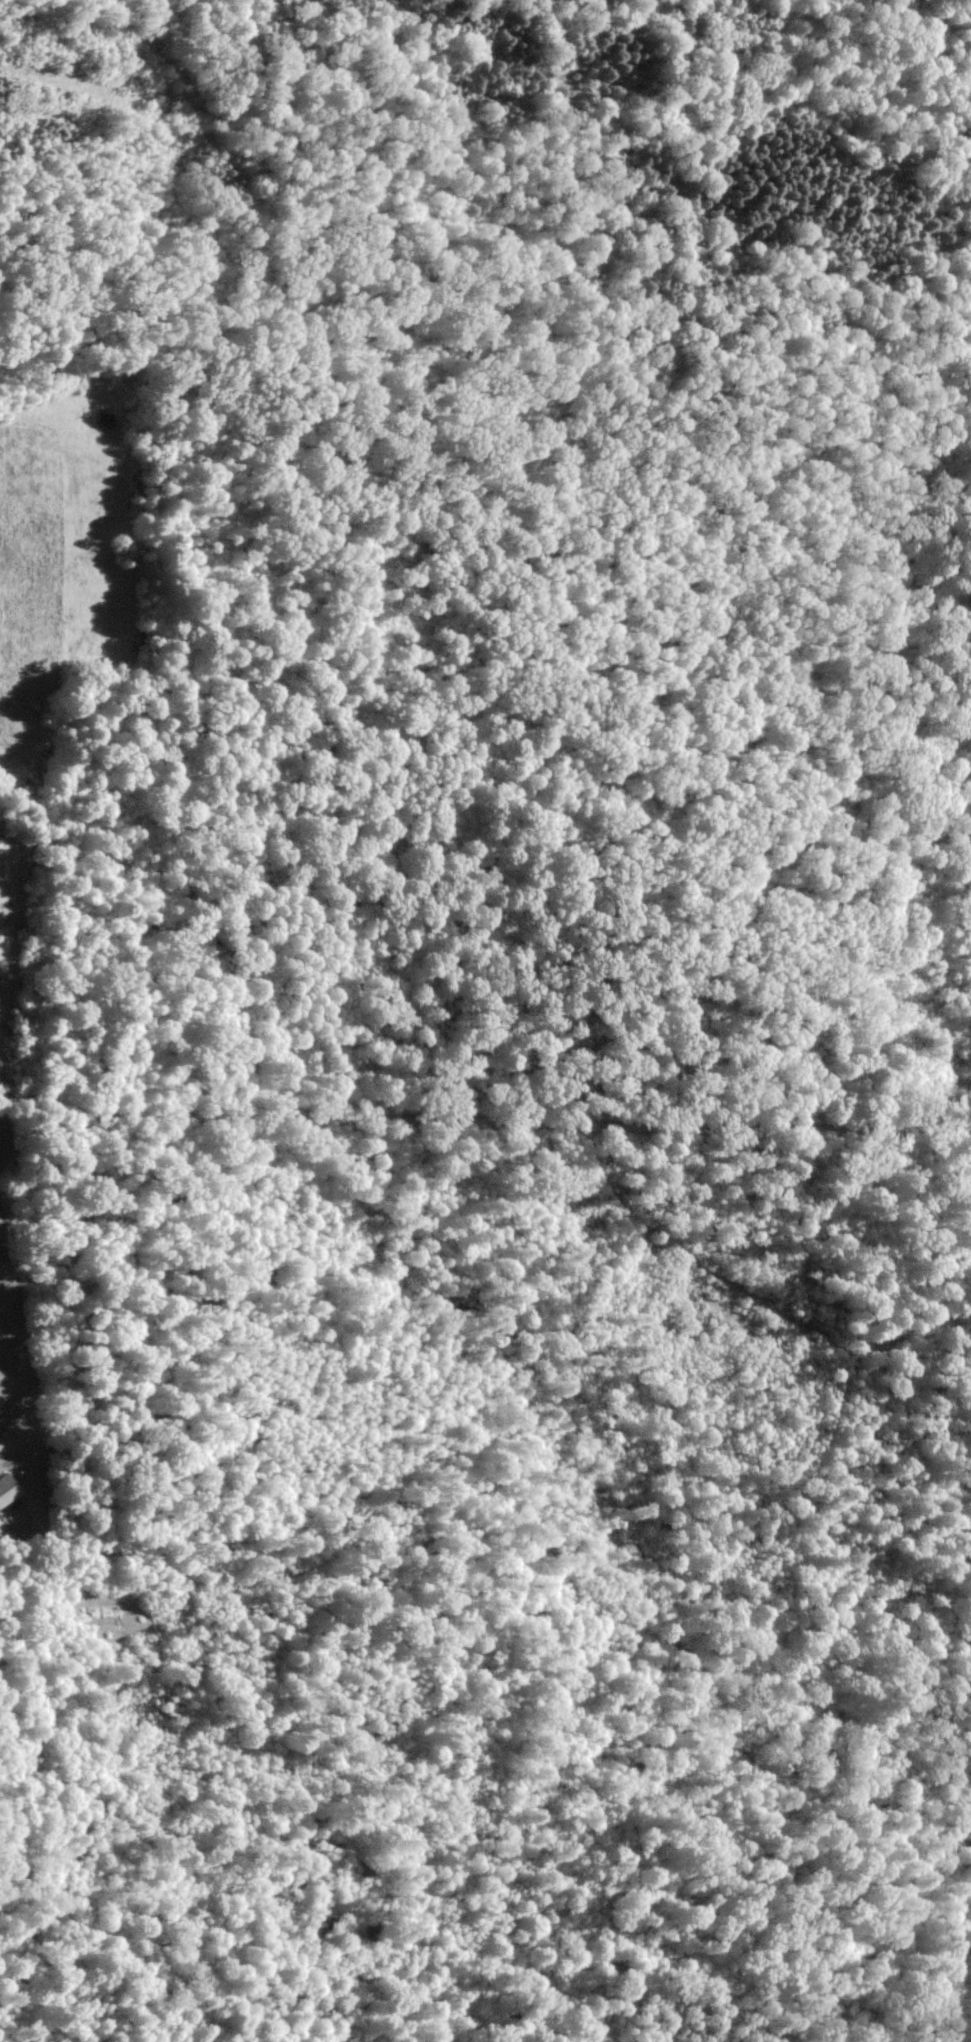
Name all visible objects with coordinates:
road: (483, 1126)

